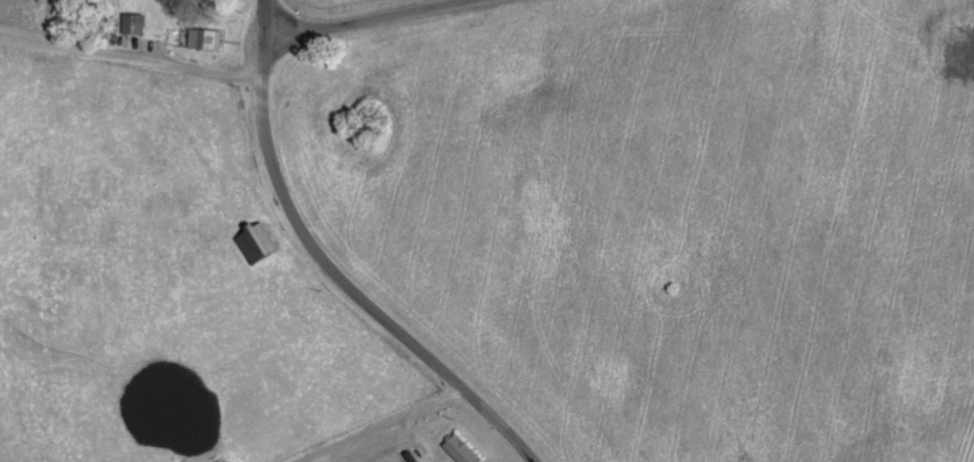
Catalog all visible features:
road: (265, 4)
road: (359, 21)
building: (132, 22)
building: (204, 38)
road: (332, 268)
road: (162, 322)
building: (460, 449)

